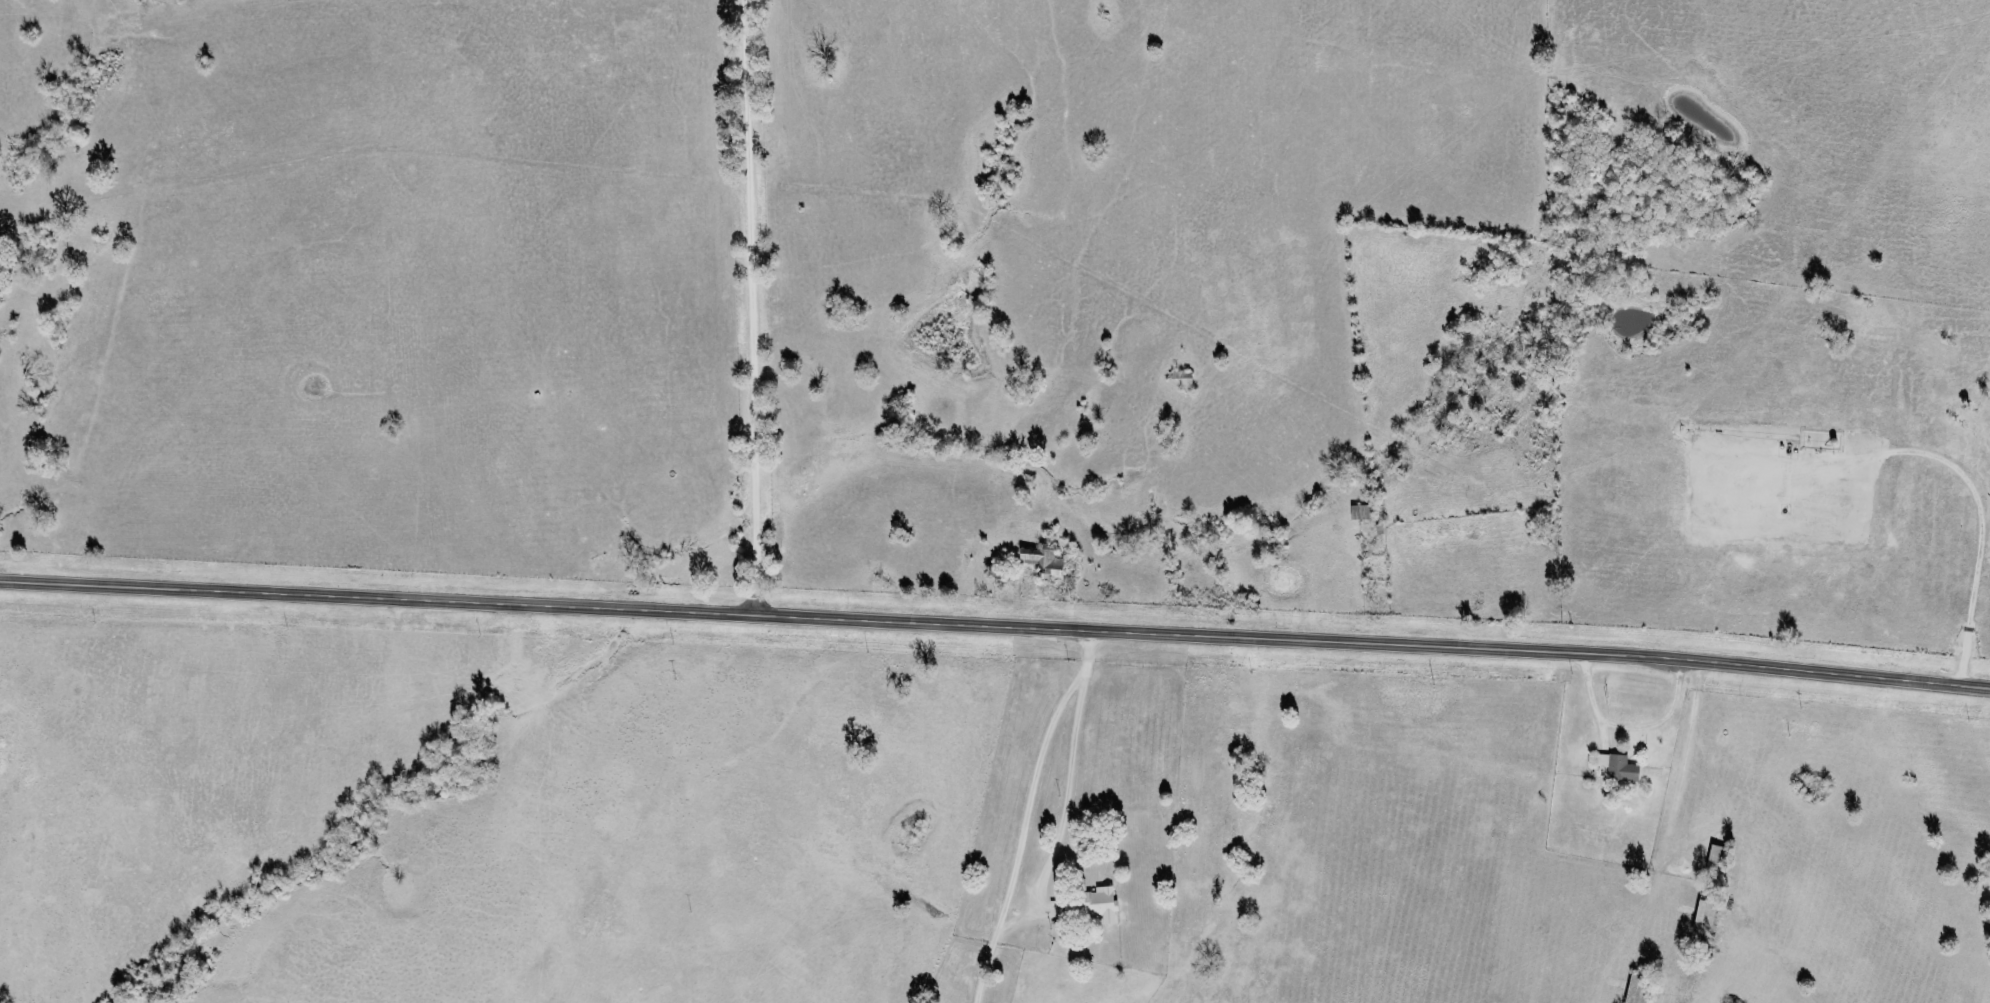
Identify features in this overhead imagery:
road: (746, 308)
building: (1048, 563)
road: (995, 625)
road: (1628, 724)
building: (1616, 766)
road: (1025, 812)
road: (1062, 813)
building: (1099, 904)
building: (1623, 1002)

